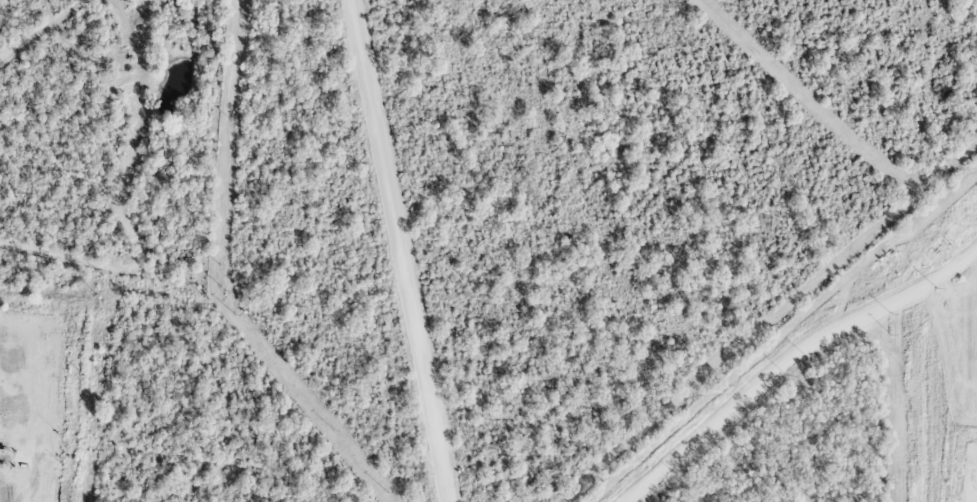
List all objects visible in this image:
road: (403, 251)
road: (787, 354)

